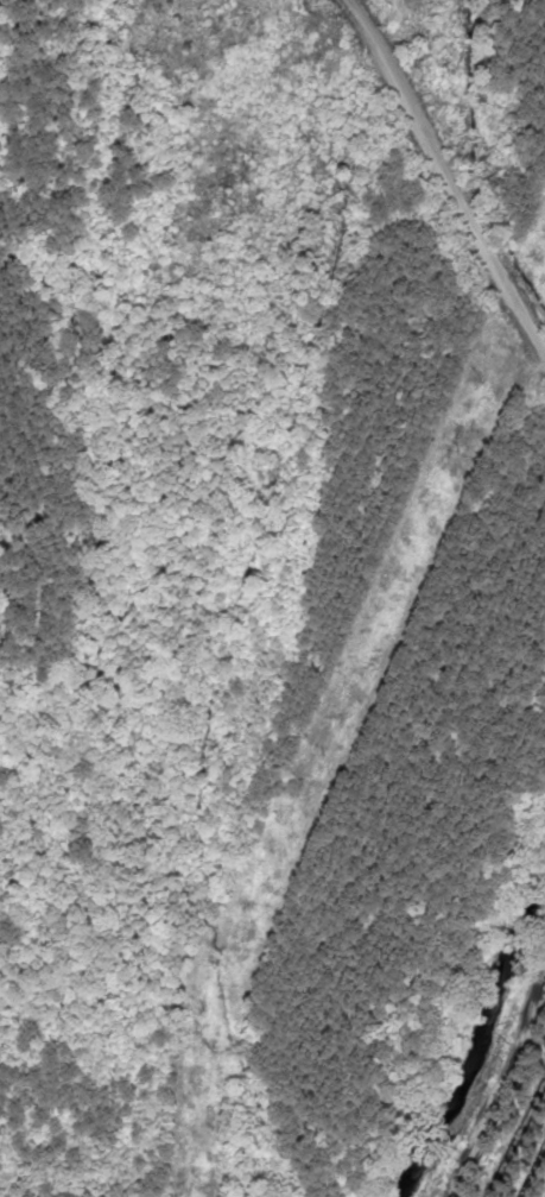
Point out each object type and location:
road: (448, 169)

